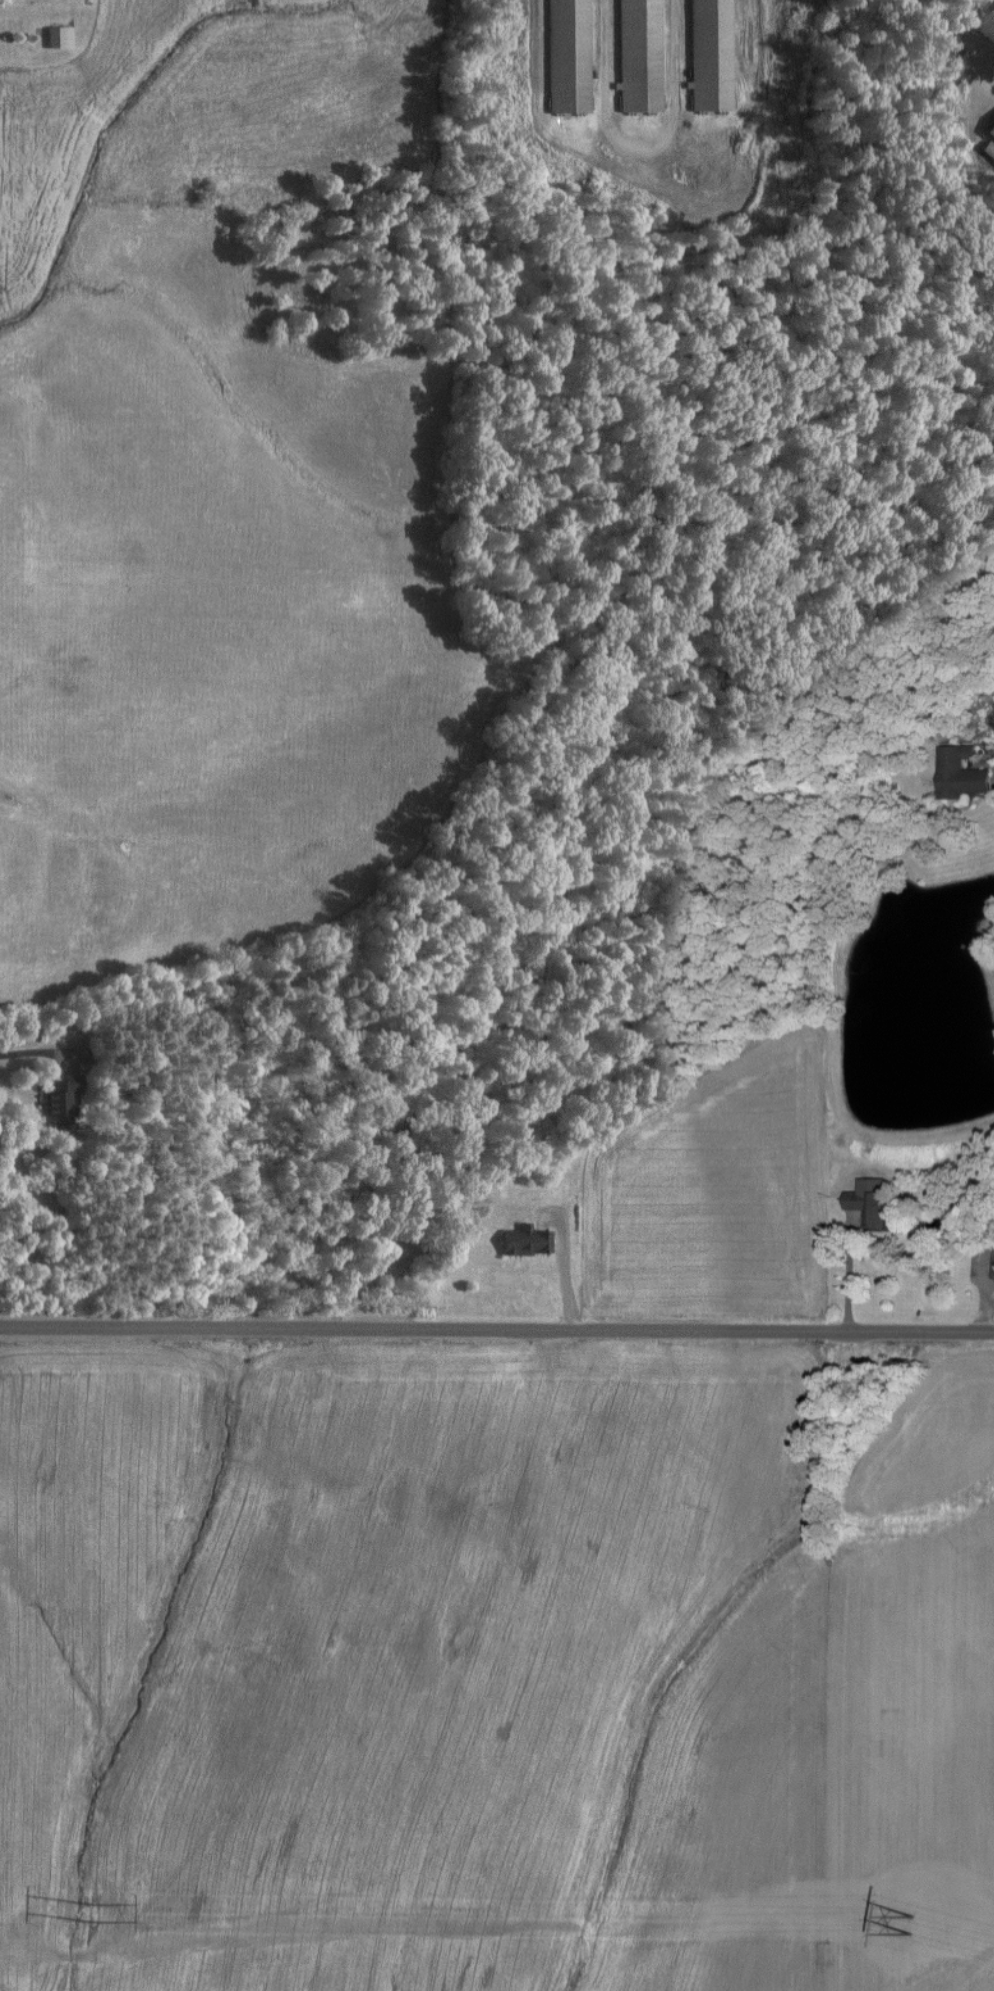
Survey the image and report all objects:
road: (978, 33)
building: (56, 38)
building: (959, 773)
building: (56, 1103)
building: (867, 1206)
building: (523, 1241)
building: (993, 1265)
road: (567, 1271)
road: (496, 1328)
power tower: (97, 1917)
power tower: (910, 1920)

